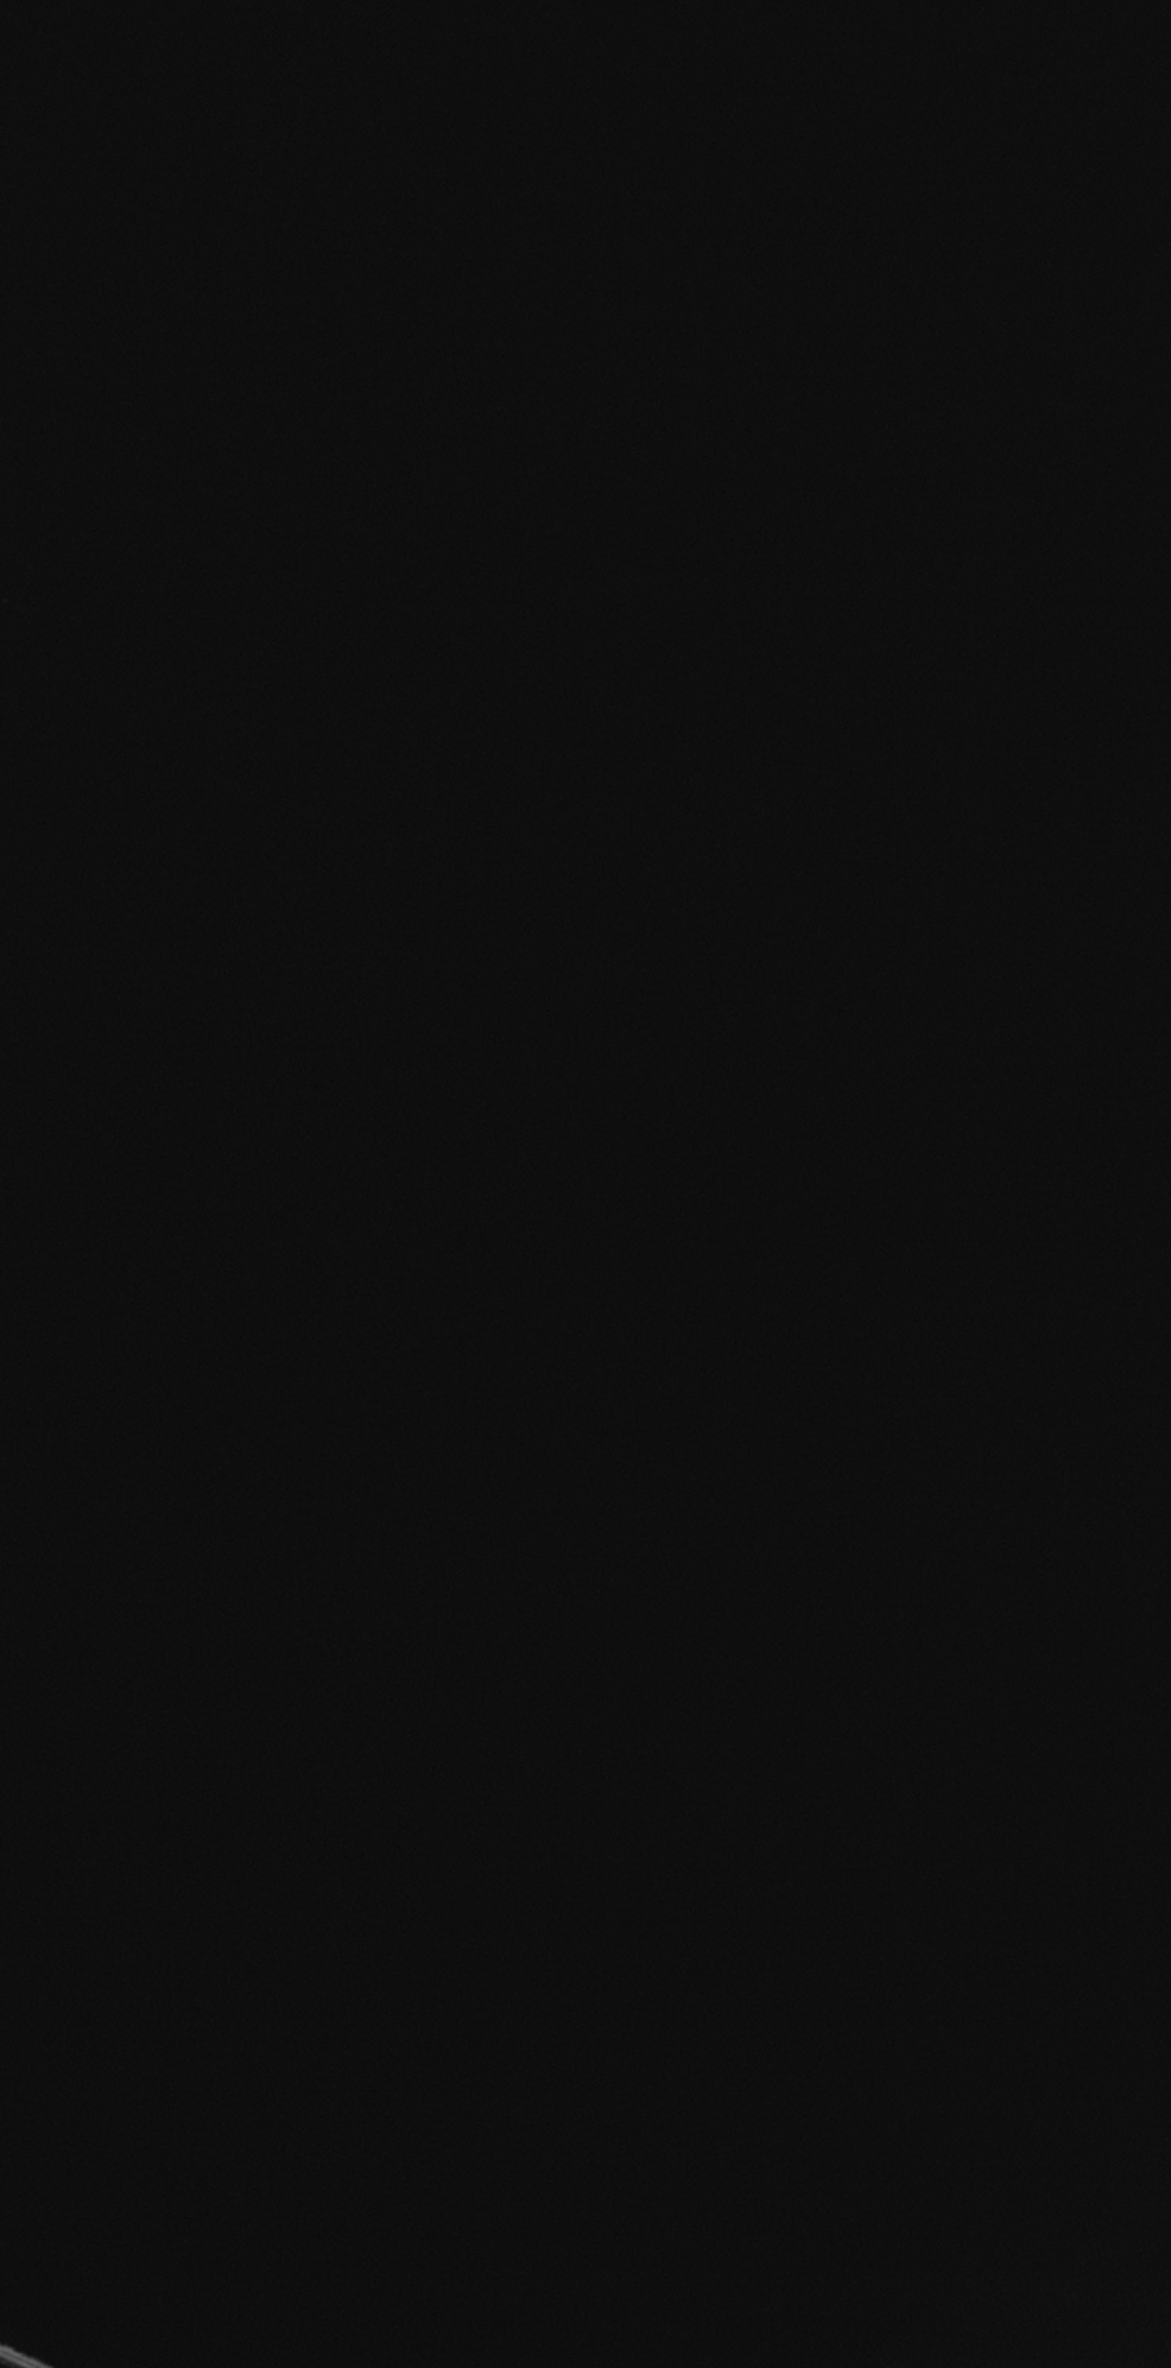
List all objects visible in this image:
park: (43, 2348)
pier: (38, 2349)
road: (23, 2357)
park: (1161, 2363)

